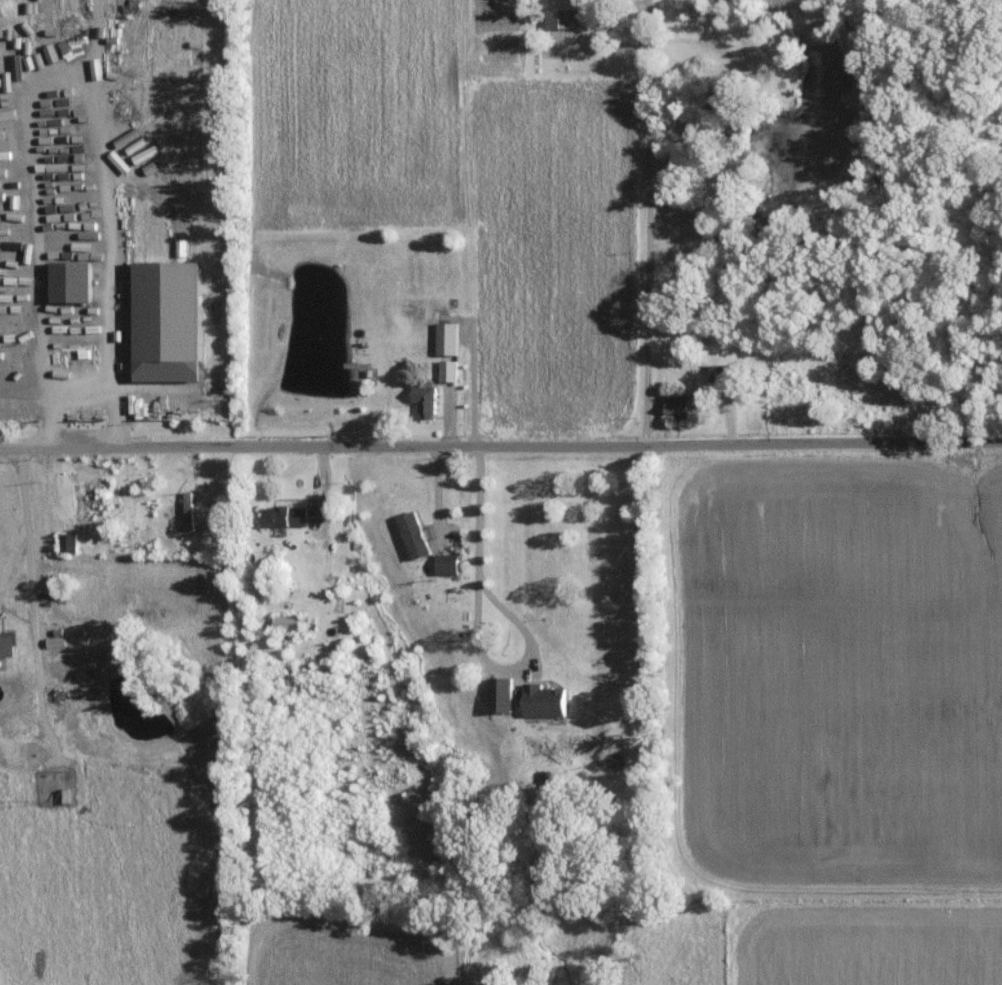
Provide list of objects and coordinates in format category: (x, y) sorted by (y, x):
building: (560, 18)
road: (649, 27)
building: (67, 55)
building: (24, 59)
building: (13, 85)
building: (155, 171)
building: (57, 184)
building: (149, 192)
road: (650, 208)
building: (181, 244)
building: (70, 281)
building: (166, 310)
building: (446, 338)
building: (448, 370)
road: (86, 399)
building: (424, 400)
building: (678, 405)
road: (500, 445)
road: (439, 497)
building: (188, 510)
building: (282, 516)
road: (27, 520)
building: (412, 535)
building: (67, 542)
building: (446, 563)
building: (286, 622)
road: (478, 629)
building: (57, 641)
building: (7, 644)
building: (499, 694)
building: (543, 700)

